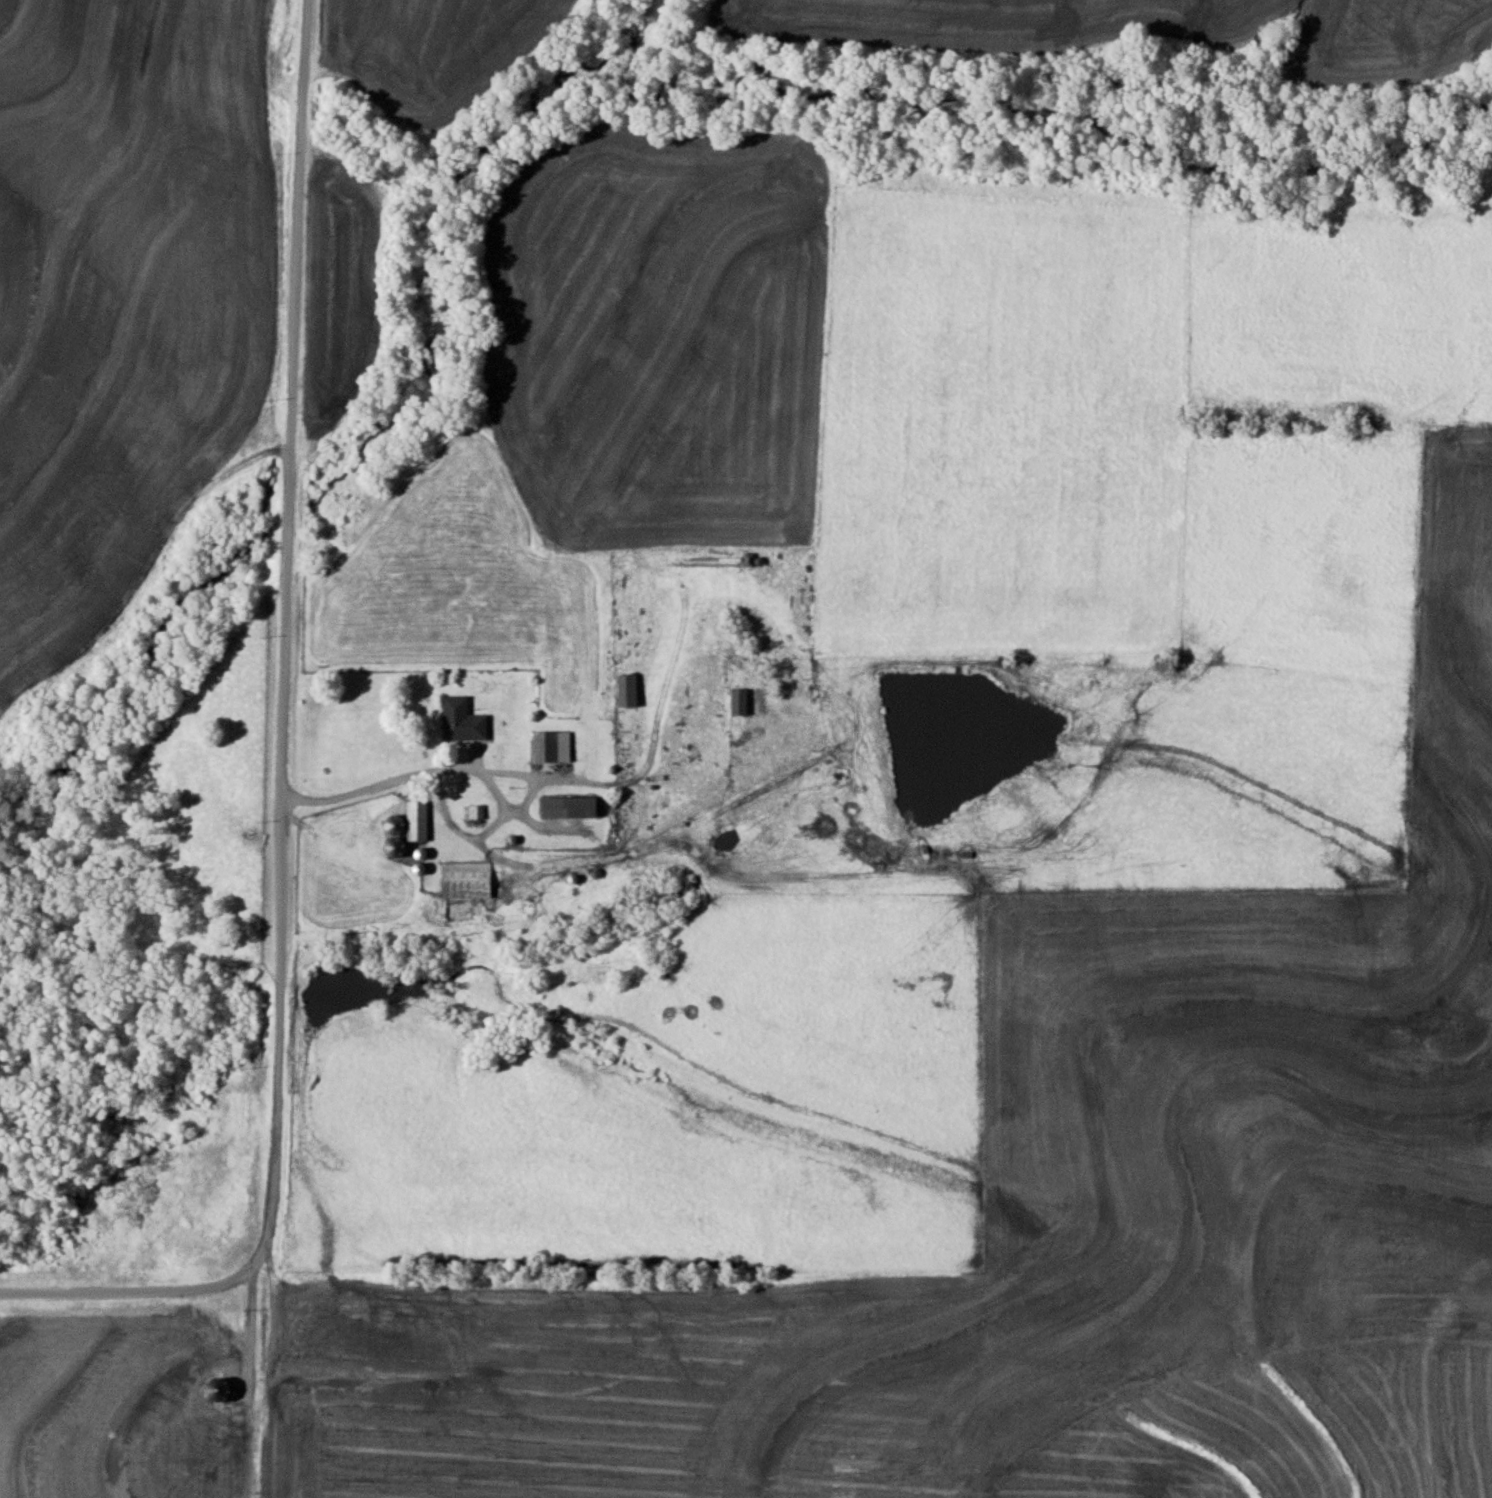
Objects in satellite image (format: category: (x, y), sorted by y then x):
building: (629, 691)
building: (740, 703)
building: (462, 721)
building: (551, 747)
road: (279, 762)
building: (572, 808)
building: (418, 820)
building: (453, 880)
building: (221, 1390)

